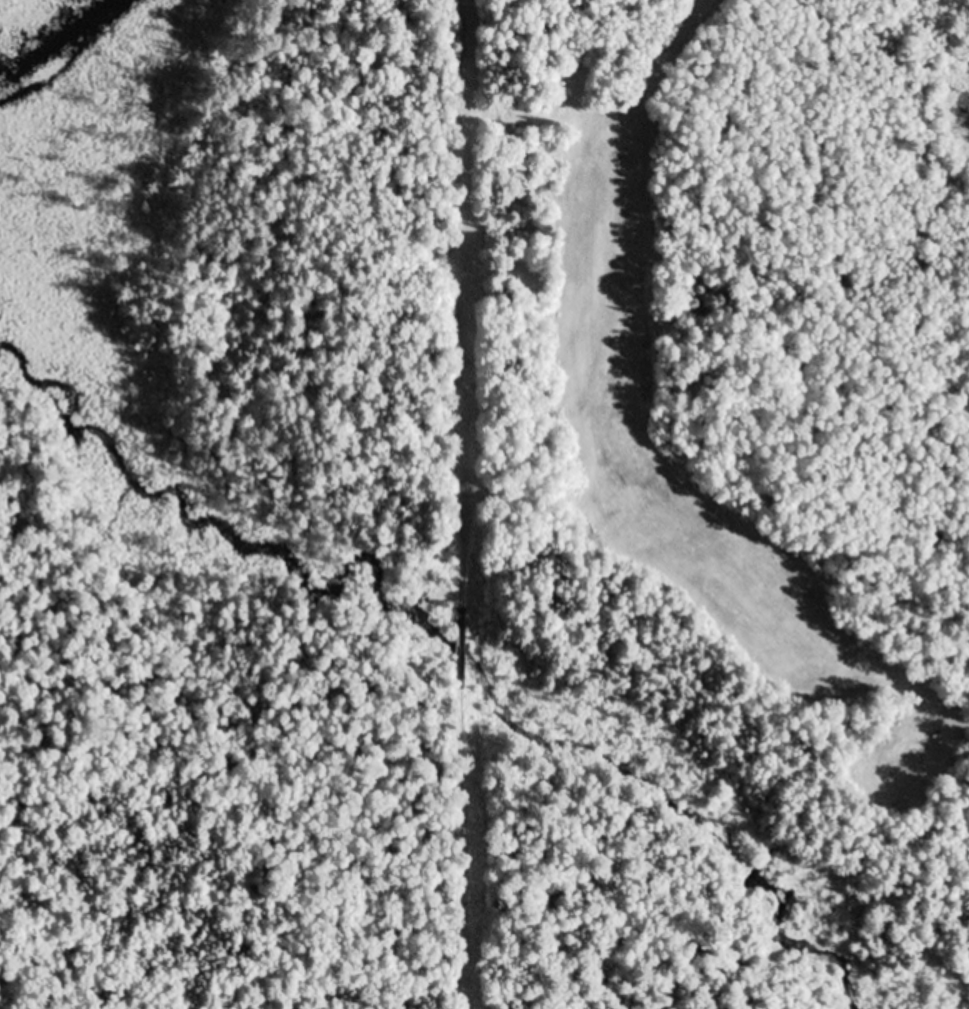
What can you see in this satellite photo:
park: (771, 368)

